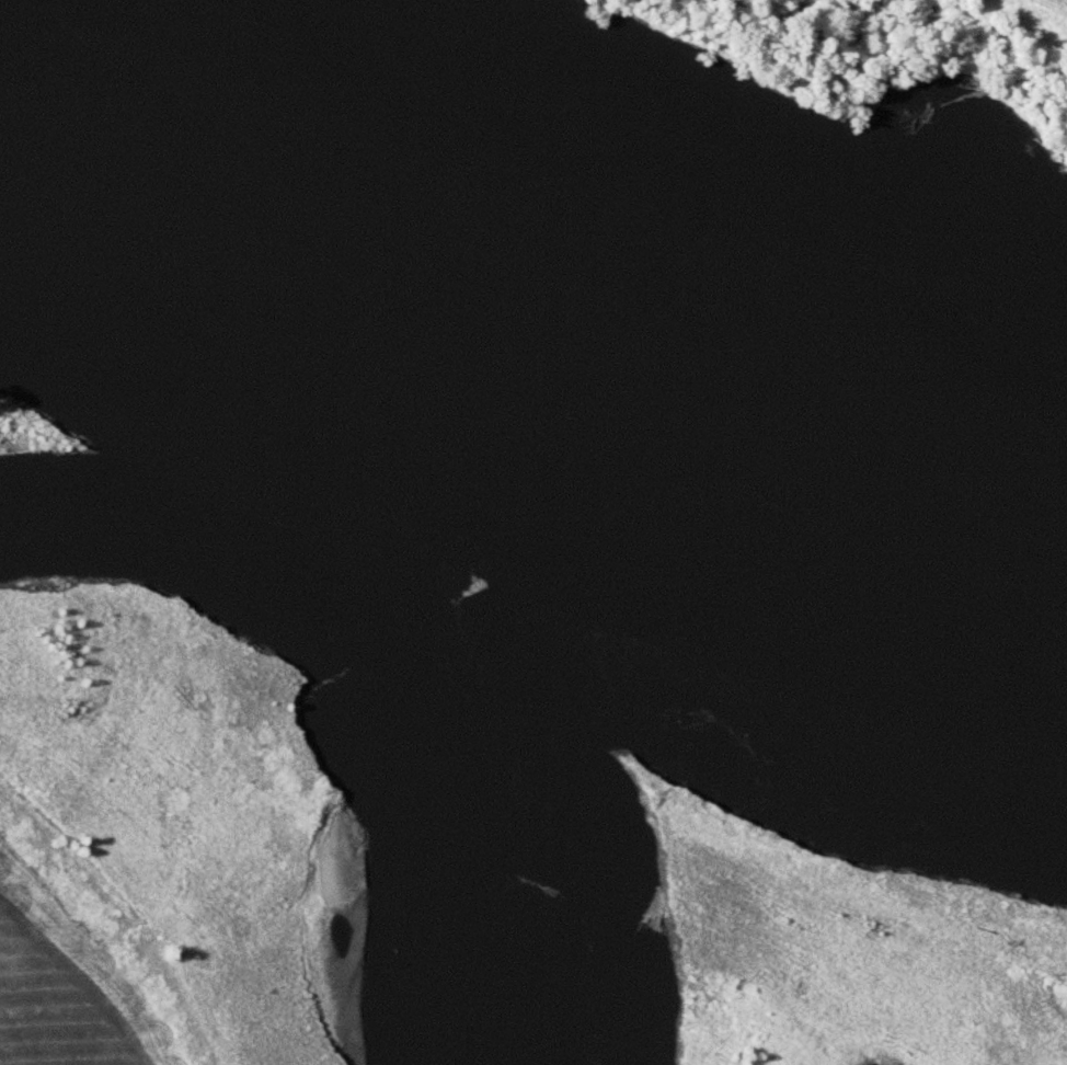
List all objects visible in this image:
river: (533, 283)

